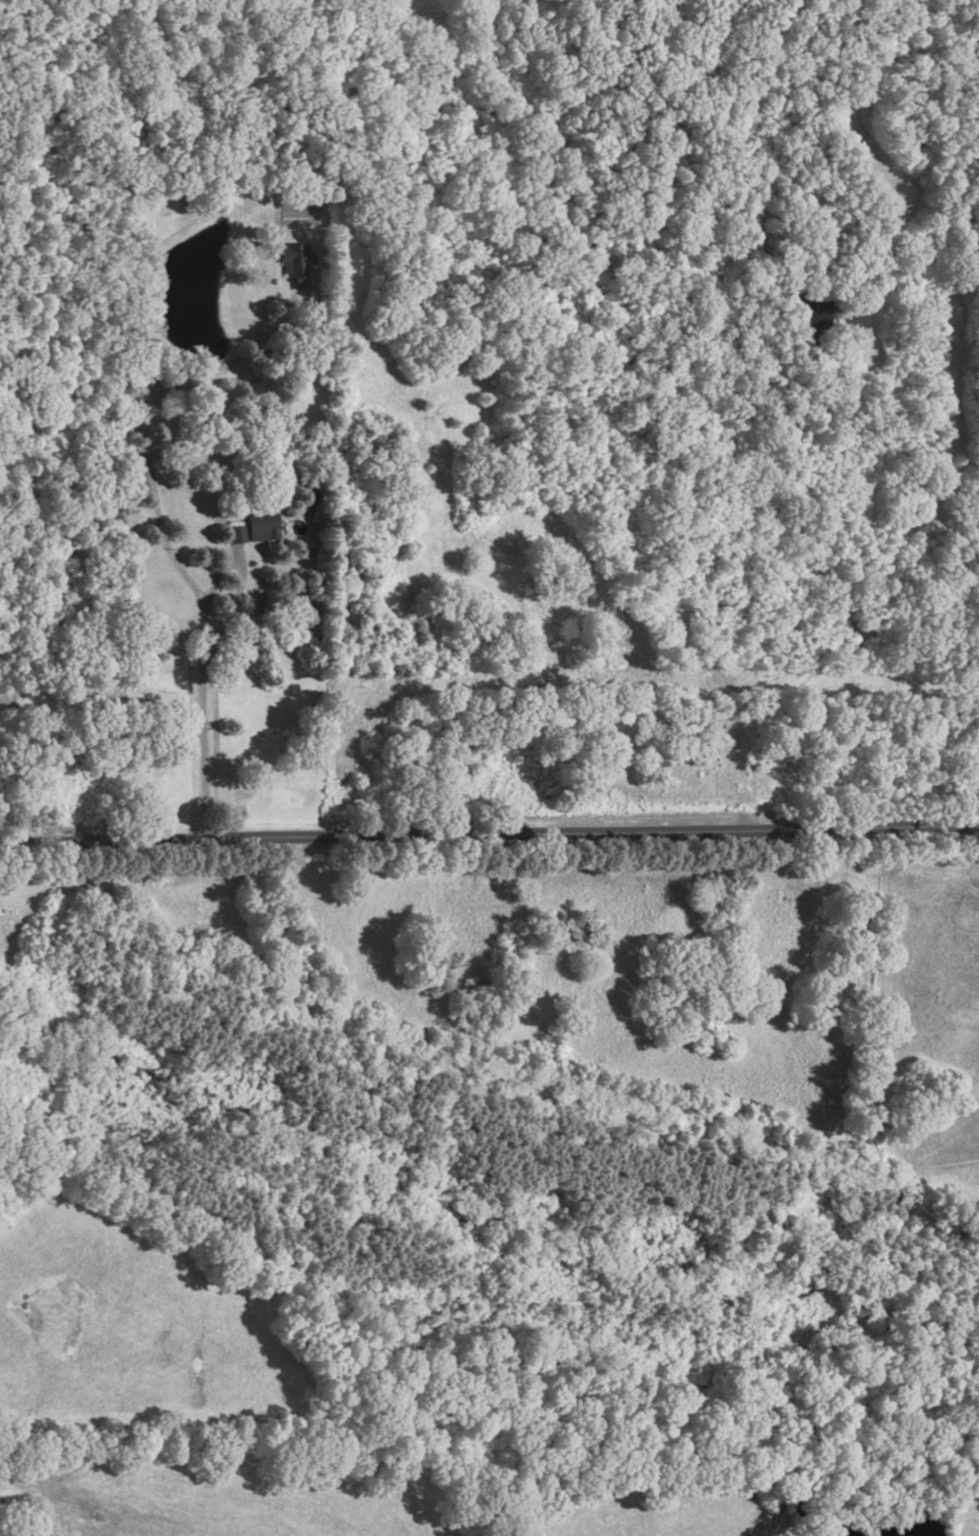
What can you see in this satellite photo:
building: (294, 264)
road: (150, 492)
building: (261, 525)
building: (234, 535)
road: (235, 586)
road: (489, 834)

